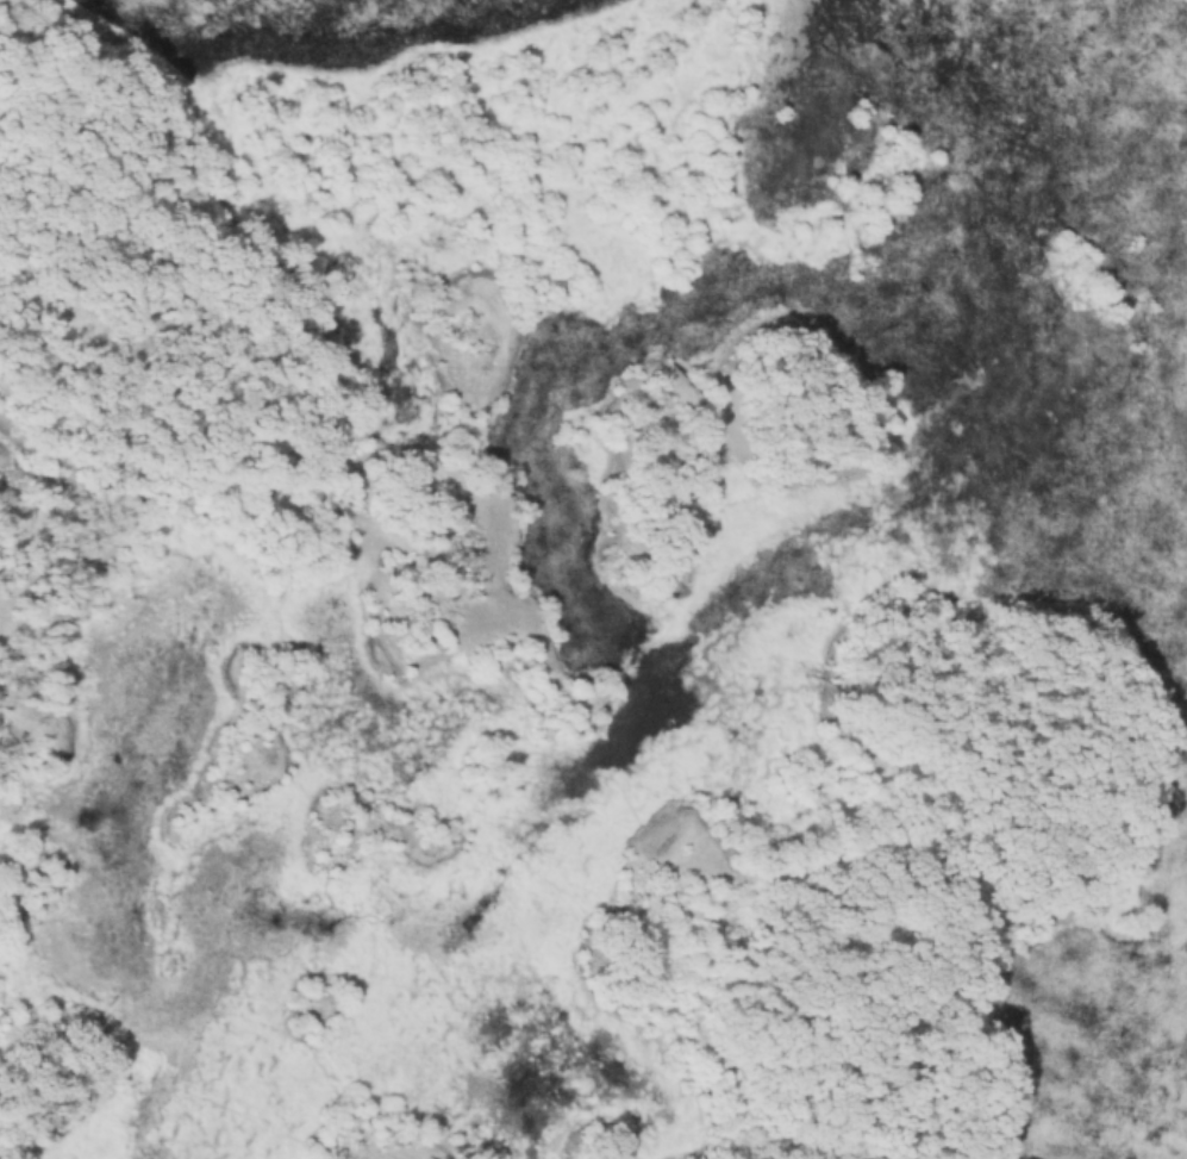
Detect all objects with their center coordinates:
road: (886, 1091)
road: (986, 1091)

